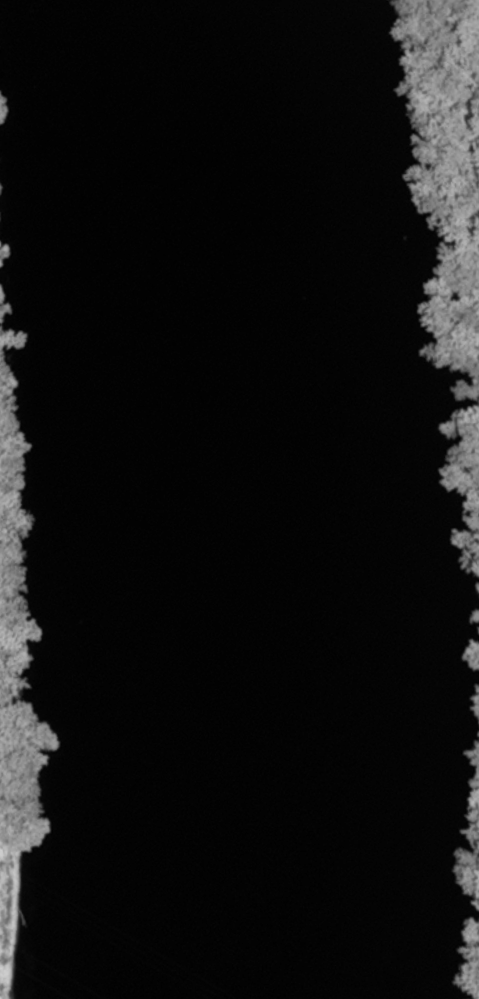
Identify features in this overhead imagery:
river: (224, 498)

